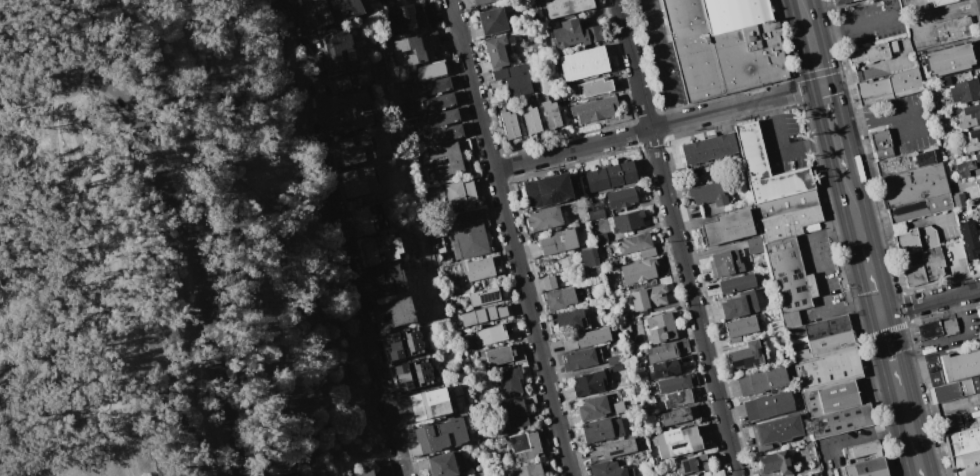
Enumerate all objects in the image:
building: (388, 0)
building: (480, 1)
building: (842, 2)
building: (940, 3)
building: (324, 5)
building: (565, 6)
building: (338, 13)
building: (409, 19)
road: (807, 20)
building: (492, 21)
parking lot: (872, 23)
road: (862, 27)
building: (955, 31)
building: (575, 34)
building: (724, 45)
building: (418, 47)
building: (339, 51)
building: (496, 51)
building: (870, 54)
road: (33, 56)
building: (950, 59)
road: (658, 62)
road: (818, 63)
building: (584, 64)
road: (633, 65)
building: (431, 71)
building: (515, 80)
building: (943, 81)
building: (350, 83)
building: (437, 86)
traffic signals: (824, 87)
building: (891, 87)
building: (595, 88)
building: (963, 90)
road: (796, 92)
building: (354, 100)
building: (934, 101)
building: (439, 102)
building: (596, 108)
road: (830, 109)
building: (551, 114)
building: (968, 115)
building: (357, 119)
building: (439, 119)
building: (531, 119)
road: (874, 122)
parking lot: (906, 122)
building: (509, 124)
building: (447, 133)
road: (631, 134)
road: (836, 134)
building: (973, 141)
building: (883, 146)
building: (355, 149)
building: (709, 150)
road: (784, 152)
building: (450, 157)
road: (842, 157)
building: (909, 161)
building: (766, 167)
building: (948, 167)
building: (967, 167)
building: (624, 172)
building: (608, 176)
building: (593, 180)
building: (358, 181)
building: (915, 185)
road: (849, 186)
building: (979, 187)
building: (548, 190)
building: (708, 194)
building: (461, 195)
building: (622, 197)
building: (960, 200)
building: (785, 203)
building: (921, 209)
building: (598, 212)
building: (368, 218)
building: (545, 218)
building: (628, 221)
building: (788, 223)
building: (979, 226)
building: (728, 227)
road: (903, 227)
building: (600, 231)
road: (87, 234)
building: (470, 234)
road: (345, 237)
road: (511, 238)
building: (970, 238)
building: (917, 240)
building: (559, 242)
building: (635, 243)
park: (168, 247)
building: (381, 248)
road: (194, 249)
building: (589, 256)
building: (725, 263)
building: (924, 267)
building: (480, 269)
building: (639, 271)
road: (115, 275)
building: (789, 275)
road: (819, 275)
building: (387, 280)
building: (549, 283)
building: (737, 284)
building: (484, 297)
building: (648, 297)
building: (560, 298)
road: (930, 301)
road: (694, 303)
building: (739, 305)
building: (395, 312)
building: (483, 315)
building: (567, 322)
building: (624, 327)
building: (661, 328)
building: (739, 328)
building: (938, 328)
parking lot: (956, 334)
building: (490, 335)
road: (887, 335)
building: (820, 337)
building: (586, 338)
road: (951, 338)
building: (467, 341)
building: (405, 343)
building: (662, 352)
building: (499, 355)
building: (744, 356)
building: (581, 359)
building: (614, 360)
building: (961, 365)
building: (411, 367)
building: (616, 367)
building: (828, 368)
building: (664, 370)
parking lot: (934, 371)
building: (414, 380)
building: (510, 381)
building: (762, 381)
building: (590, 383)
building: (674, 383)
building: (957, 390)
building: (677, 398)
building: (830, 398)
road: (105, 400)
building: (769, 405)
building: (425, 406)
building: (619, 407)
building: (593, 408)
building: (516, 414)
building: (678, 415)
building: (841, 421)
building: (597, 430)
building: (451, 431)
building: (776, 431)
building: (429, 439)
road: (870, 440)
building: (677, 441)
building: (524, 445)
building: (613, 448)
building: (965, 451)
building: (656, 459)
building: (866, 461)
building: (776, 462)
building: (443, 465)
building: (692, 465)
building: (607, 469)
building: (383, 470)
building: (523, 470)
building: (841, 471)
building: (362, 472)
building: (292, 475)

